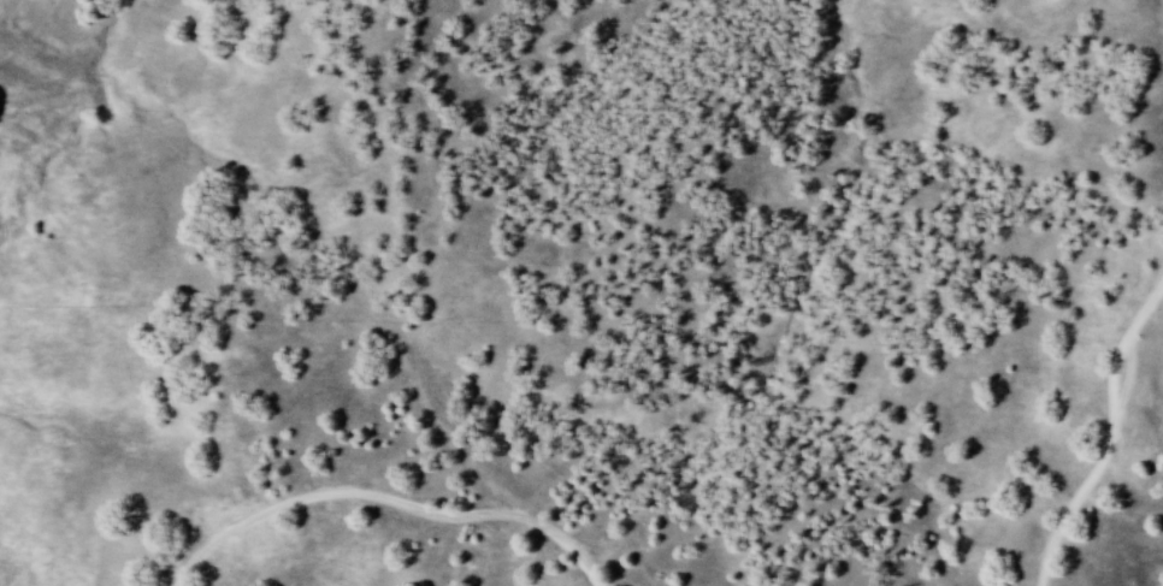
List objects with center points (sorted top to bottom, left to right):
road: (1110, 427)
road: (403, 503)

